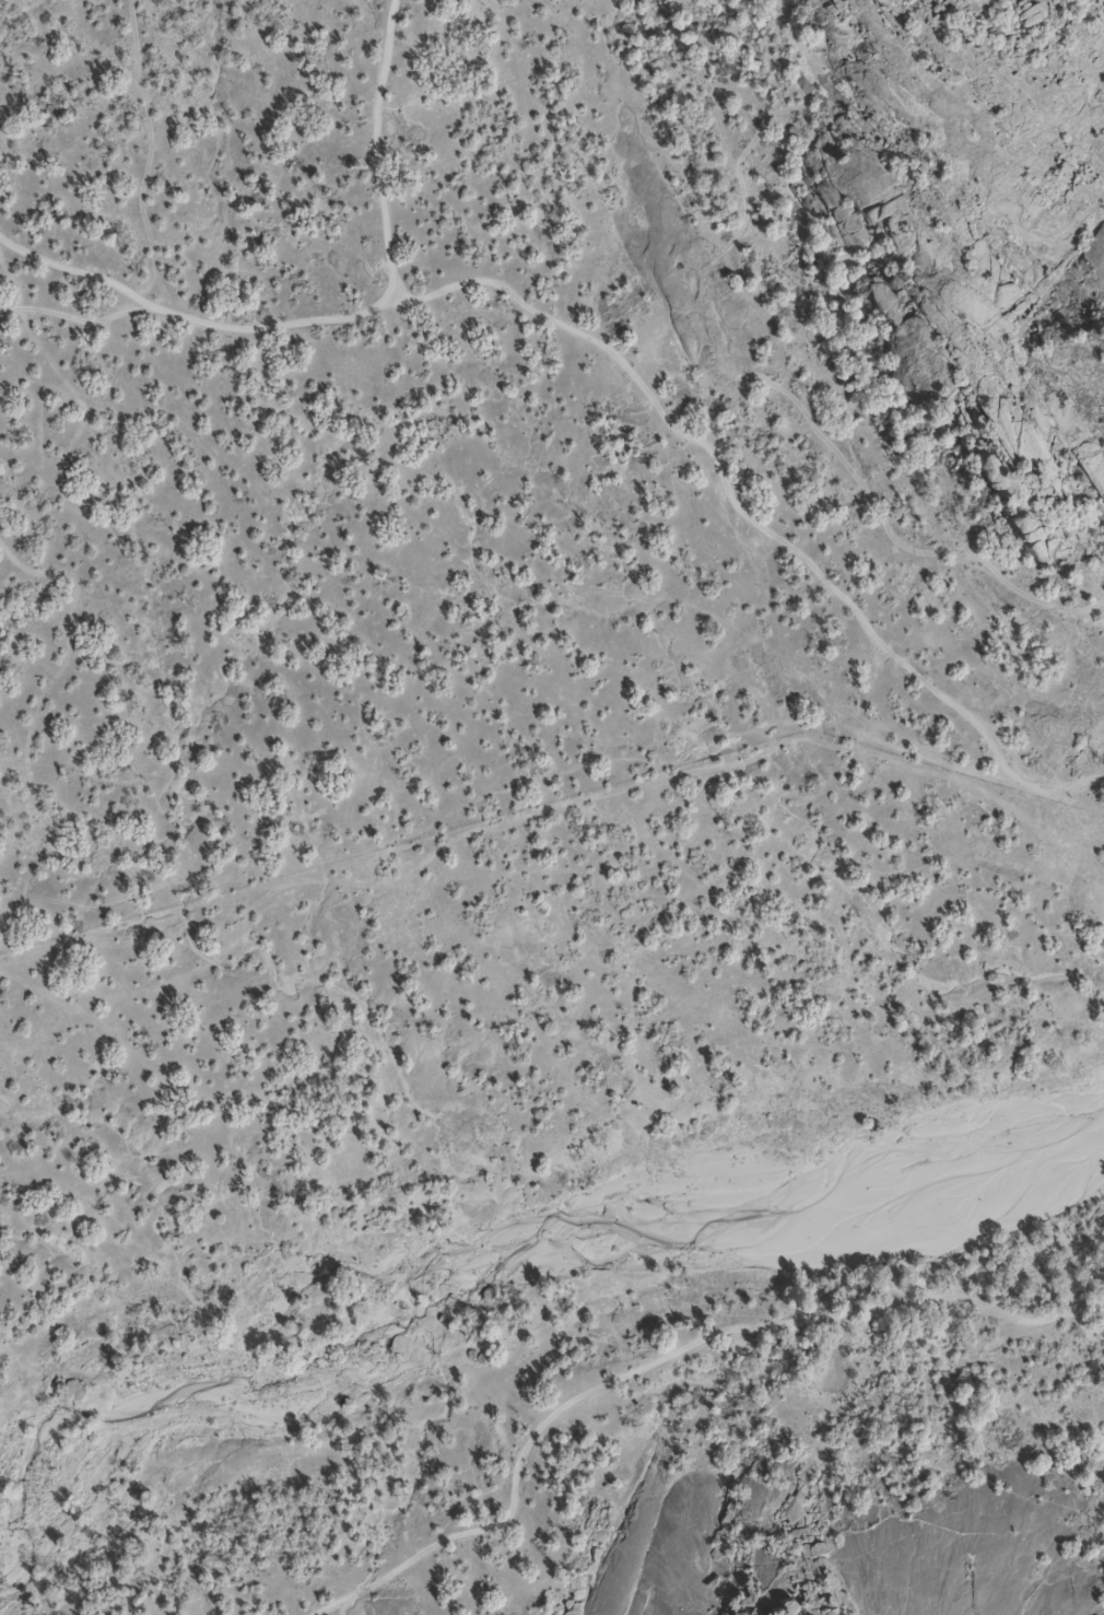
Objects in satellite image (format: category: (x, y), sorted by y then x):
building: (1030, 17)
road: (339, 325)
building: (592, 1561)

